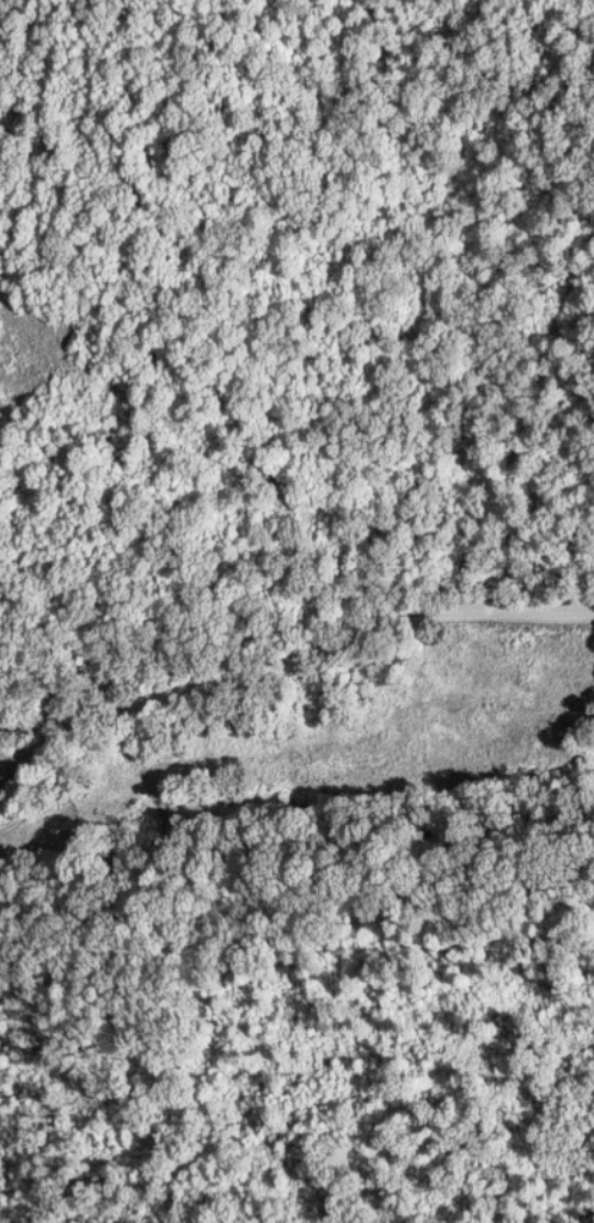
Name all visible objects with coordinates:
road: (295, 655)
road: (467, 919)

